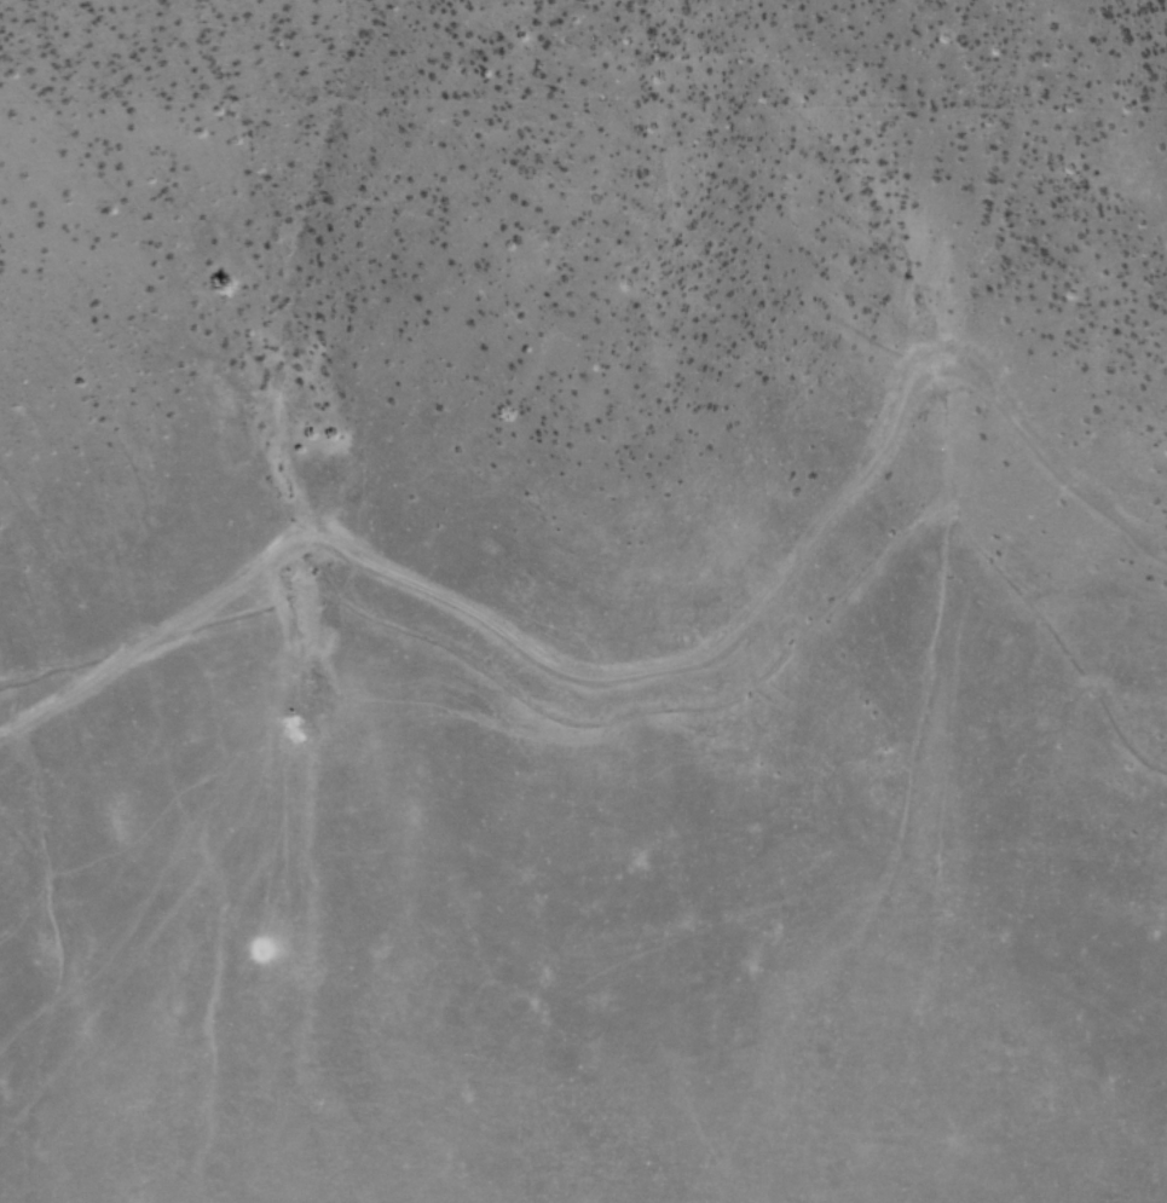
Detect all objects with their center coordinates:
road: (1150, 1201)

